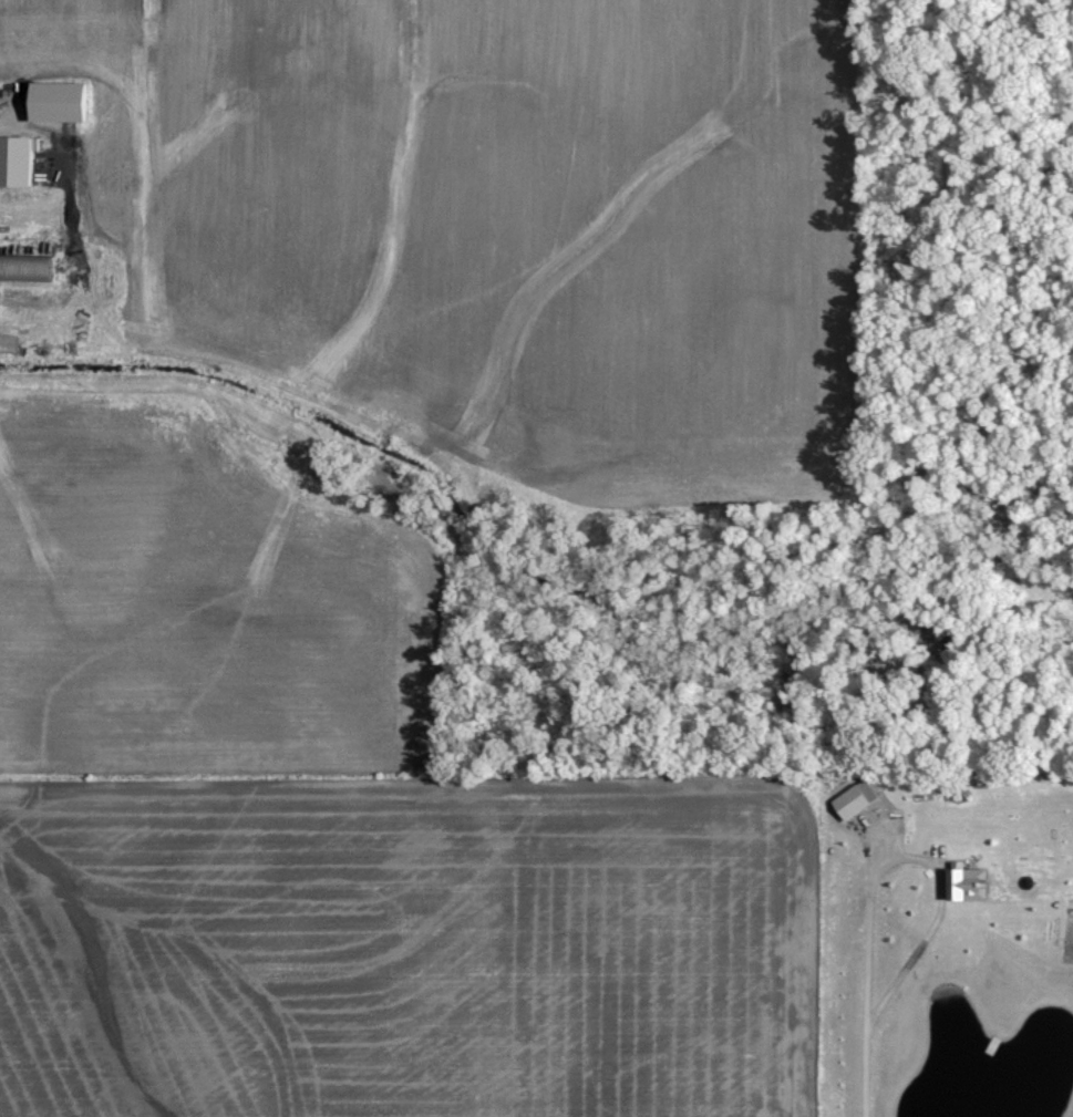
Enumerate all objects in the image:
building: (53, 100)
building: (14, 158)
building: (23, 266)
building: (848, 799)
road: (915, 854)
building: (963, 880)
road: (863, 1069)

